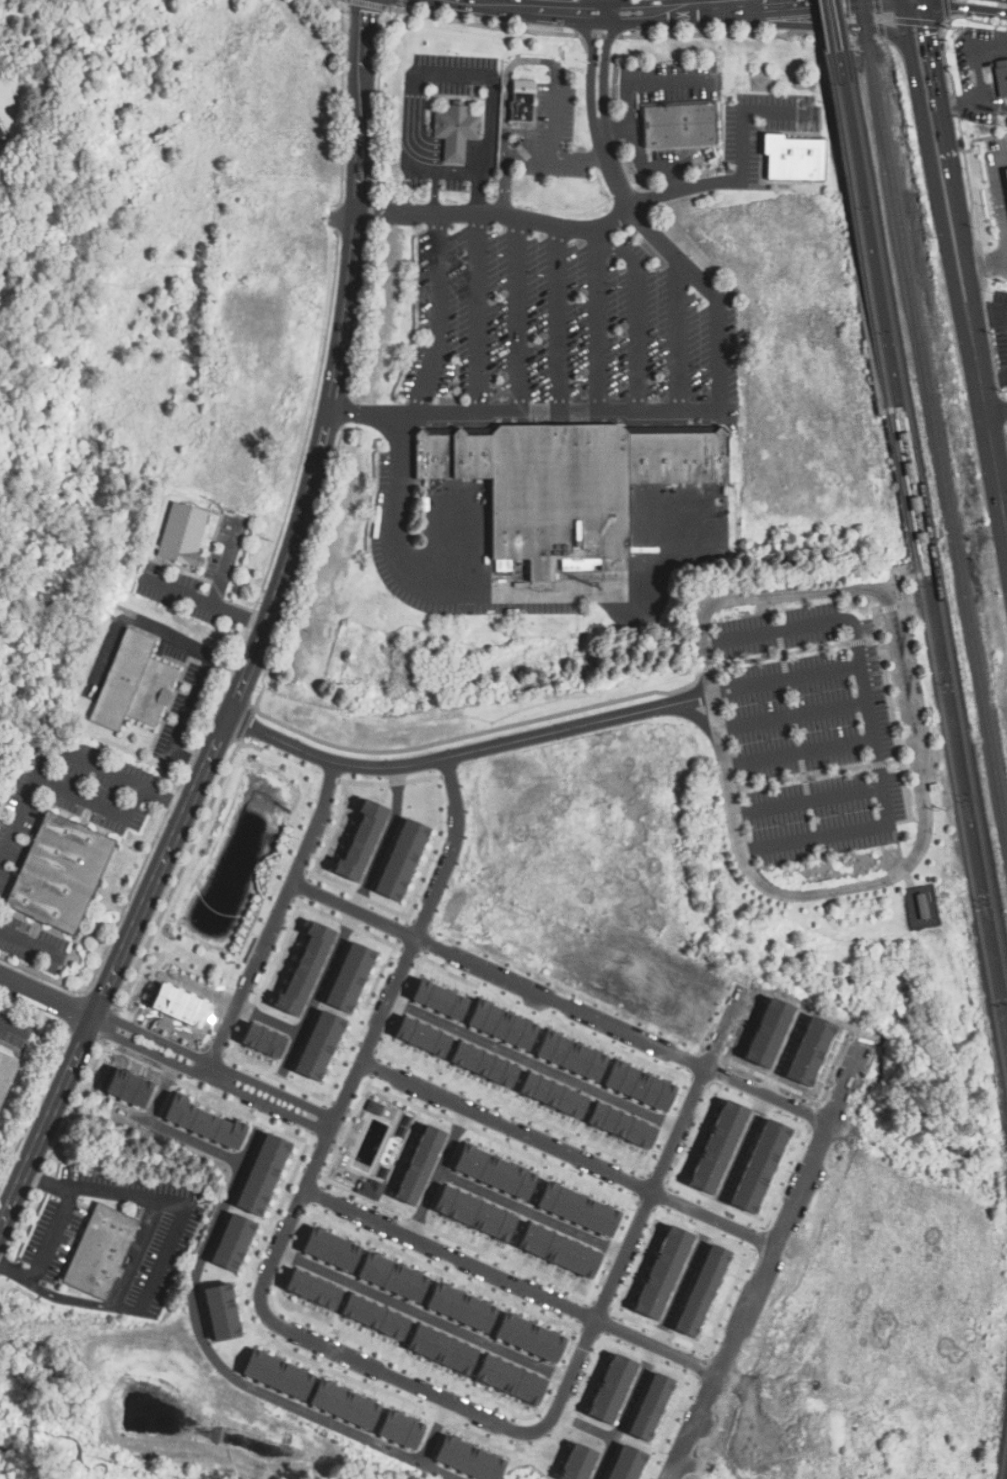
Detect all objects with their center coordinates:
road: (986, 3)
road: (604, 6)
road: (719, 7)
road: (879, 7)
road: (538, 9)
road: (947, 9)
road: (880, 19)
road: (886, 19)
road: (953, 19)
road: (918, 21)
railway: (838, 24)
road: (488, 25)
railway: (825, 26)
road: (882, 31)
road: (600, 35)
road: (754, 35)
road: (604, 60)
road: (591, 64)
road: (448, 78)
building: (1002, 79)
road: (979, 83)
building: (523, 102)
road: (556, 110)
road: (629, 112)
road: (745, 124)
building: (679, 125)
road: (617, 128)
building: (457, 131)
building: (1, 135)
road: (557, 158)
building: (795, 158)
road: (614, 171)
building: (1006, 172)
road: (505, 176)
road: (437, 193)
road: (998, 197)
road: (374, 201)
road: (849, 221)
road: (555, 225)
road: (961, 266)
road: (984, 268)
road: (716, 294)
road: (987, 309)
road: (484, 313)
road: (441, 316)
road: (519, 316)
road: (638, 317)
road: (559, 319)
road: (597, 319)
road: (681, 337)
road: (338, 367)
road: (994, 381)
road: (996, 409)
road: (347, 410)
road: (525, 413)
railway: (933, 413)
road: (908, 467)
building: (568, 484)
railway: (927, 507)
building: (181, 537)
railway: (917, 562)
railway: (921, 569)
road: (216, 591)
road: (890, 607)
road: (135, 622)
road: (788, 653)
road: (787, 681)
building: (134, 686)
road: (692, 701)
road: (194, 703)
road: (715, 712)
road: (695, 714)
road: (892, 714)
road: (793, 715)
road: (872, 724)
parking lot: (814, 732)
road: (335, 744)
road: (66, 751)
road: (800, 751)
road: (914, 755)
road: (447, 756)
road: (826, 773)
building: (935, 787)
road: (942, 798)
road: (809, 800)
road: (95, 803)
building: (361, 841)
building: (402, 859)
building: (61, 873)
road: (678, 916)
road: (276, 920)
road: (350, 920)
road: (28, 943)
building: (305, 968)
road: (114, 973)
building: (350, 976)
road: (47, 997)
building: (440, 999)
road: (234, 1003)
road: (9, 1023)
building: (503, 1025)
road: (373, 1033)
building: (423, 1036)
building: (264, 1040)
building: (319, 1044)
building: (572, 1055)
road: (216, 1061)
building: (484, 1064)
road: (534, 1064)
building: (6, 1074)
road: (209, 1077)
building: (639, 1085)
road: (162, 1091)
building: (553, 1094)
road: (773, 1096)
building: (203, 1122)
building: (621, 1125)
road: (172, 1130)
road: (568, 1151)
building: (420, 1164)
building: (494, 1171)
road: (438, 1172)
building: (263, 1174)
road: (651, 1193)
building: (577, 1208)
road: (533, 1211)
building: (474, 1213)
road: (50, 1236)
road: (776, 1241)
building: (233, 1242)
road: (699, 1245)
road: (167, 1247)
building: (331, 1249)
building: (558, 1250)
building: (101, 1253)
building: (662, 1272)
road: (15, 1274)
building: (393, 1277)
building: (313, 1289)
road: (69, 1300)
building: (460, 1306)
building: (221, 1311)
road: (424, 1314)
building: (374, 1317)
road: (604, 1320)
building: (528, 1337)
building: (441, 1349)
road: (223, 1365)
building: (277, 1374)
road: (396, 1376)
building: (509, 1379)
building: (610, 1388)
building: (344, 1404)
building: (649, 1406)
building: (400, 1429)
road: (435, 1431)
building: (468, 1459)
building: (576, 1462)
building: (625, 1463)
railway: (1005, 1467)

